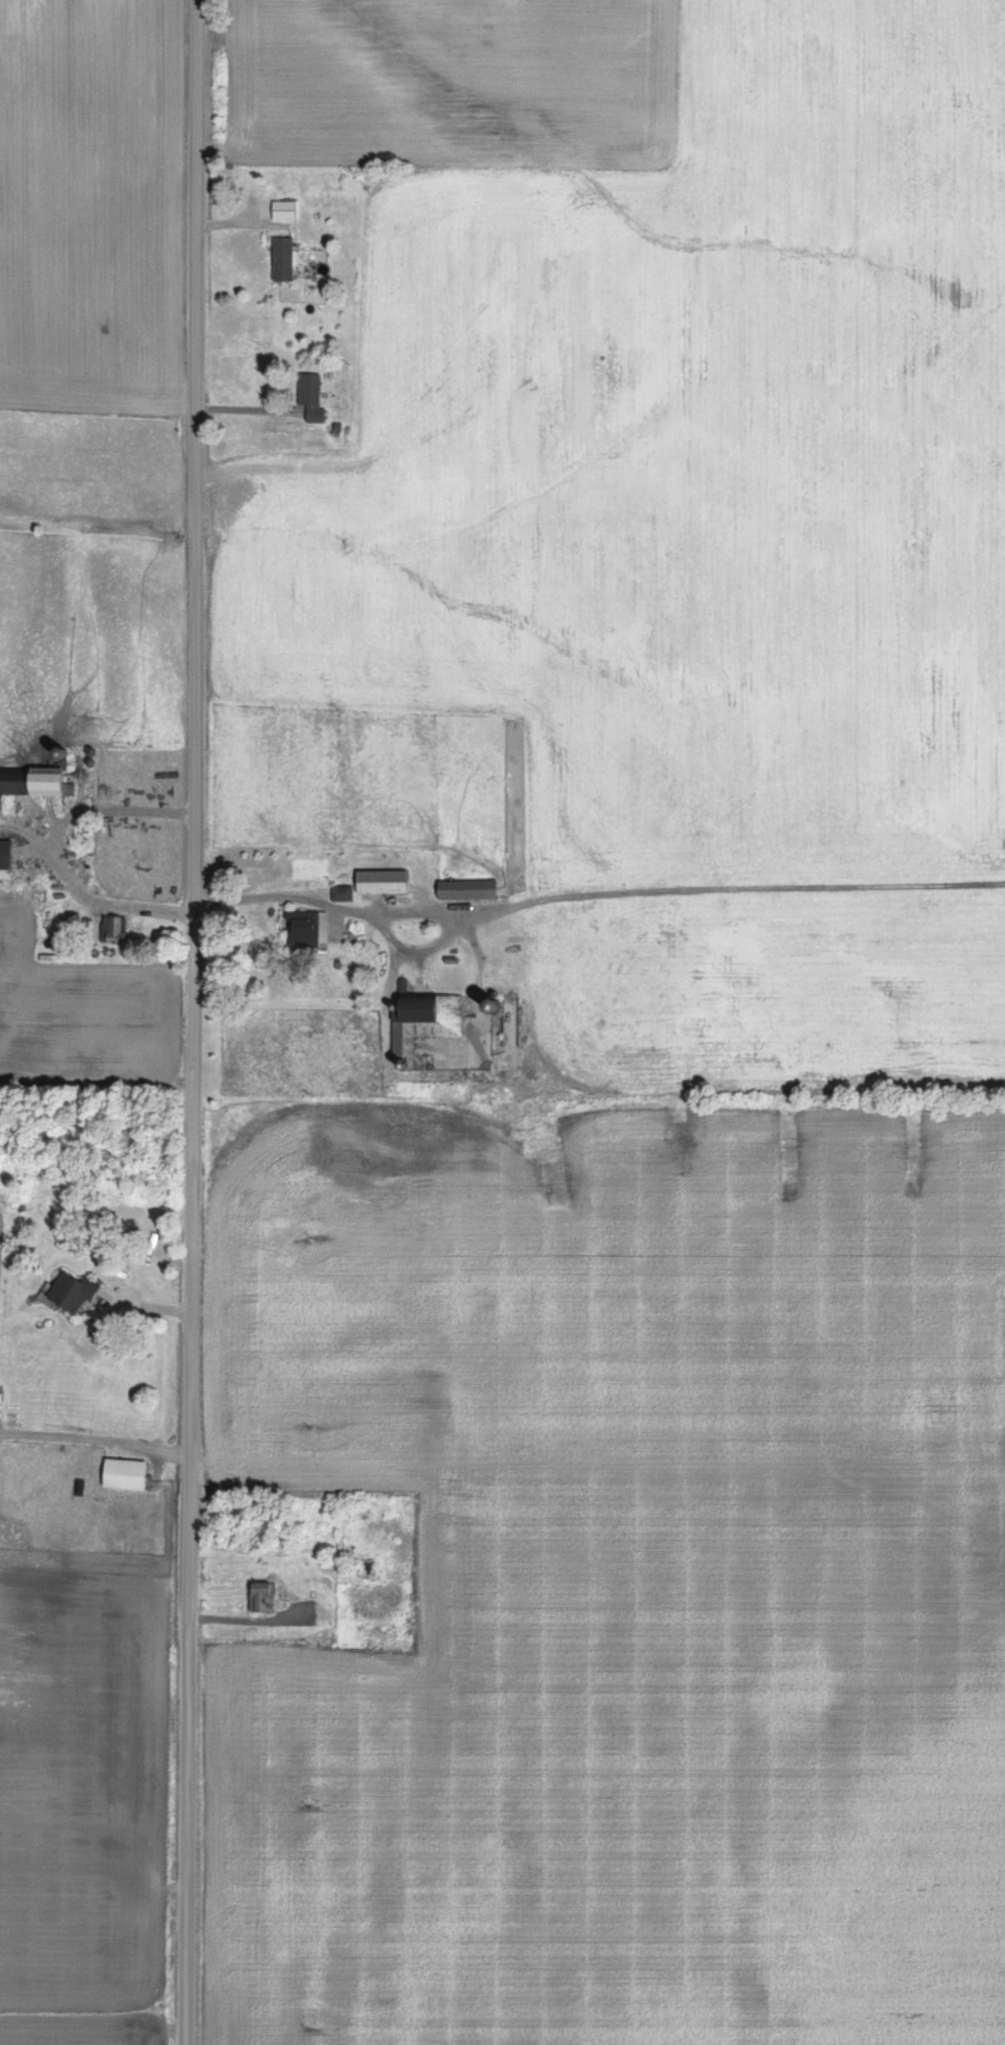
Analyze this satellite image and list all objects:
building: (287, 215)
building: (286, 264)
building: (315, 402)
building: (39, 785)
road: (50, 853)
building: (10, 857)
building: (388, 886)
building: (471, 893)
building: (345, 898)
road: (385, 909)
building: (119, 933)
building: (311, 933)
road: (194, 1022)
building: (428, 1024)
building: (77, 1297)
road: (95, 1442)
building: (131, 1478)
building: (267, 1600)
road: (243, 1625)

